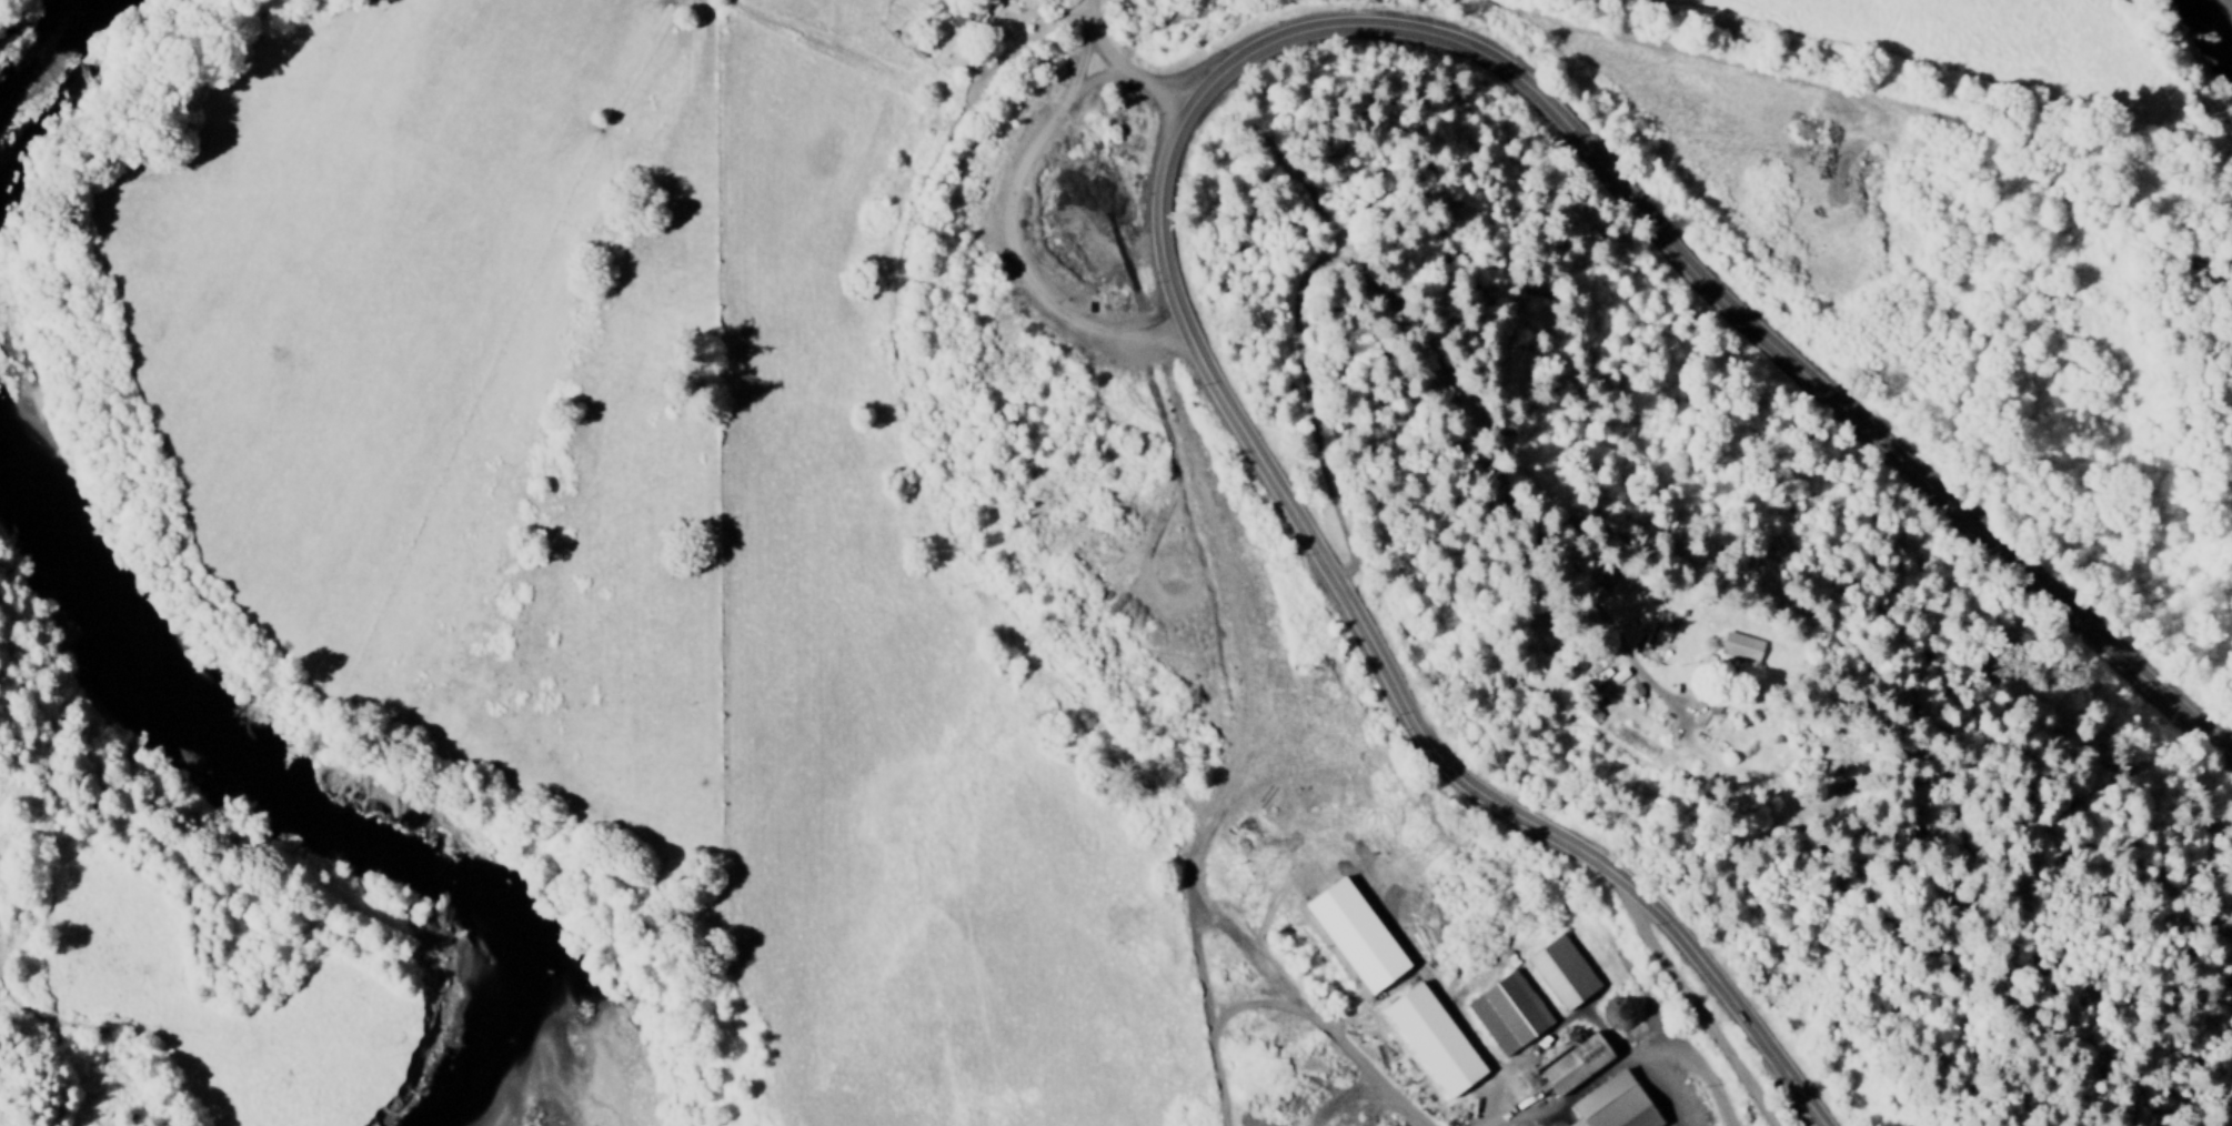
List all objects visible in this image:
river: (2220, 11)
river: (33, 58)
road: (1122, 66)
road: (1214, 80)
road: (1857, 99)
road: (907, 430)
road: (1425, 492)
road: (1228, 524)
building: (1740, 649)
road: (1579, 668)
building: (1600, 682)
road: (1666, 700)
crop: (1601, 713)
road: (1800, 728)
river: (291, 796)
road: (1195, 931)
building: (1557, 973)
railway: (1328, 981)
road: (1689, 994)
road: (1309, 1012)
building: (1504, 1013)
road: (70, 1024)
building: (1427, 1042)
road: (1672, 1049)
building: (1565, 1064)
building: (1607, 1104)

